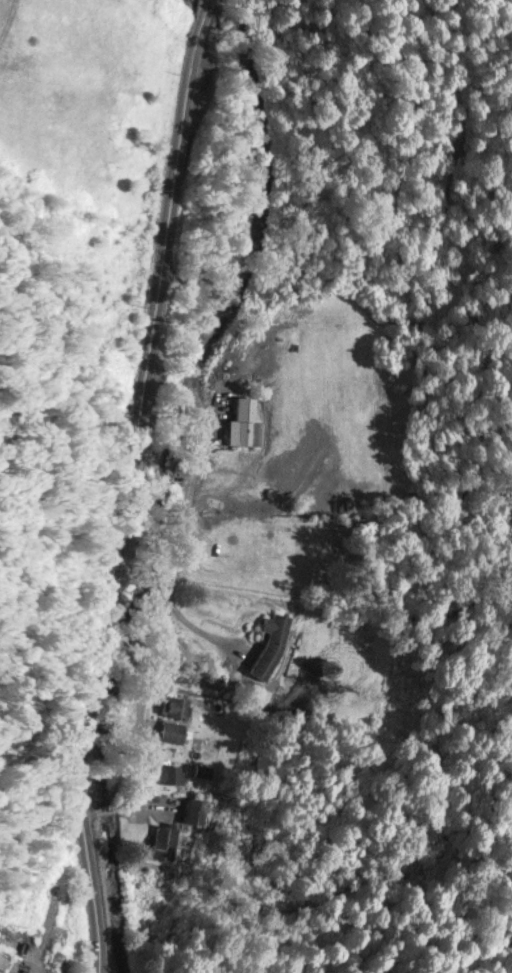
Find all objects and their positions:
building: (243, 423)
road: (125, 485)
road: (178, 547)
building: (270, 644)
building: (172, 706)
building: (170, 730)
building: (170, 773)
building: (194, 811)
building: (161, 841)
building: (3, 963)

